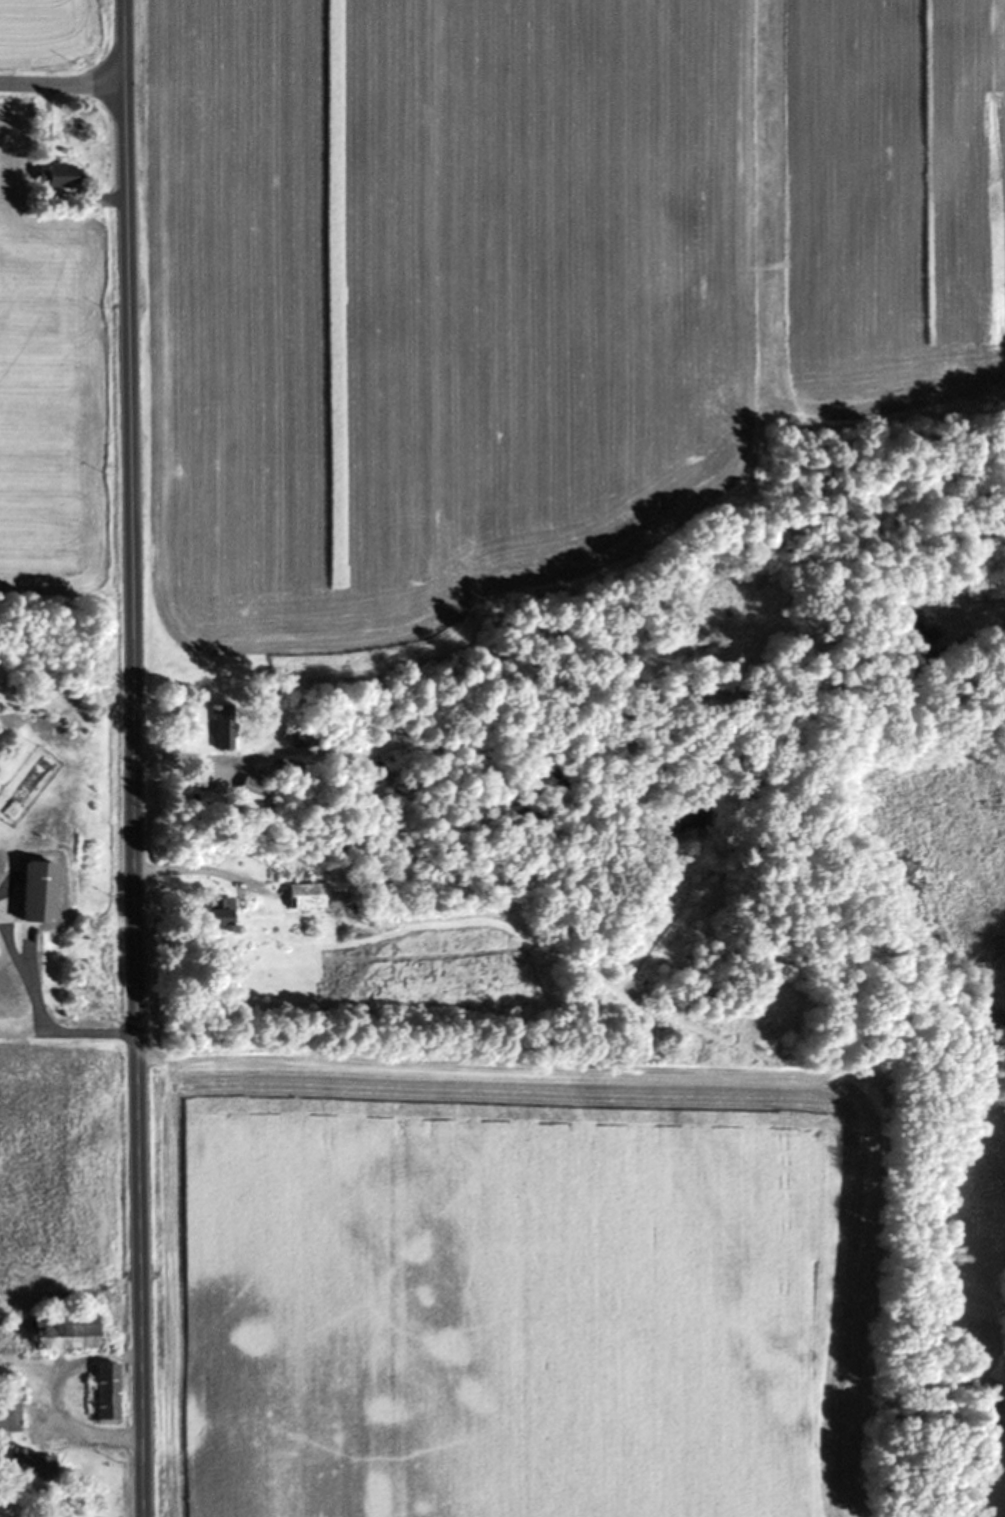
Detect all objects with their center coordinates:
road: (60, 82)
building: (64, 176)
building: (225, 727)
building: (308, 738)
road: (130, 758)
building: (292, 765)
building: (256, 794)
building: (42, 893)
building: (226, 912)
road: (36, 1011)
building: (67, 1330)
building: (109, 1393)
road: (53, 1396)
building: (11, 1406)
building: (31, 1465)

